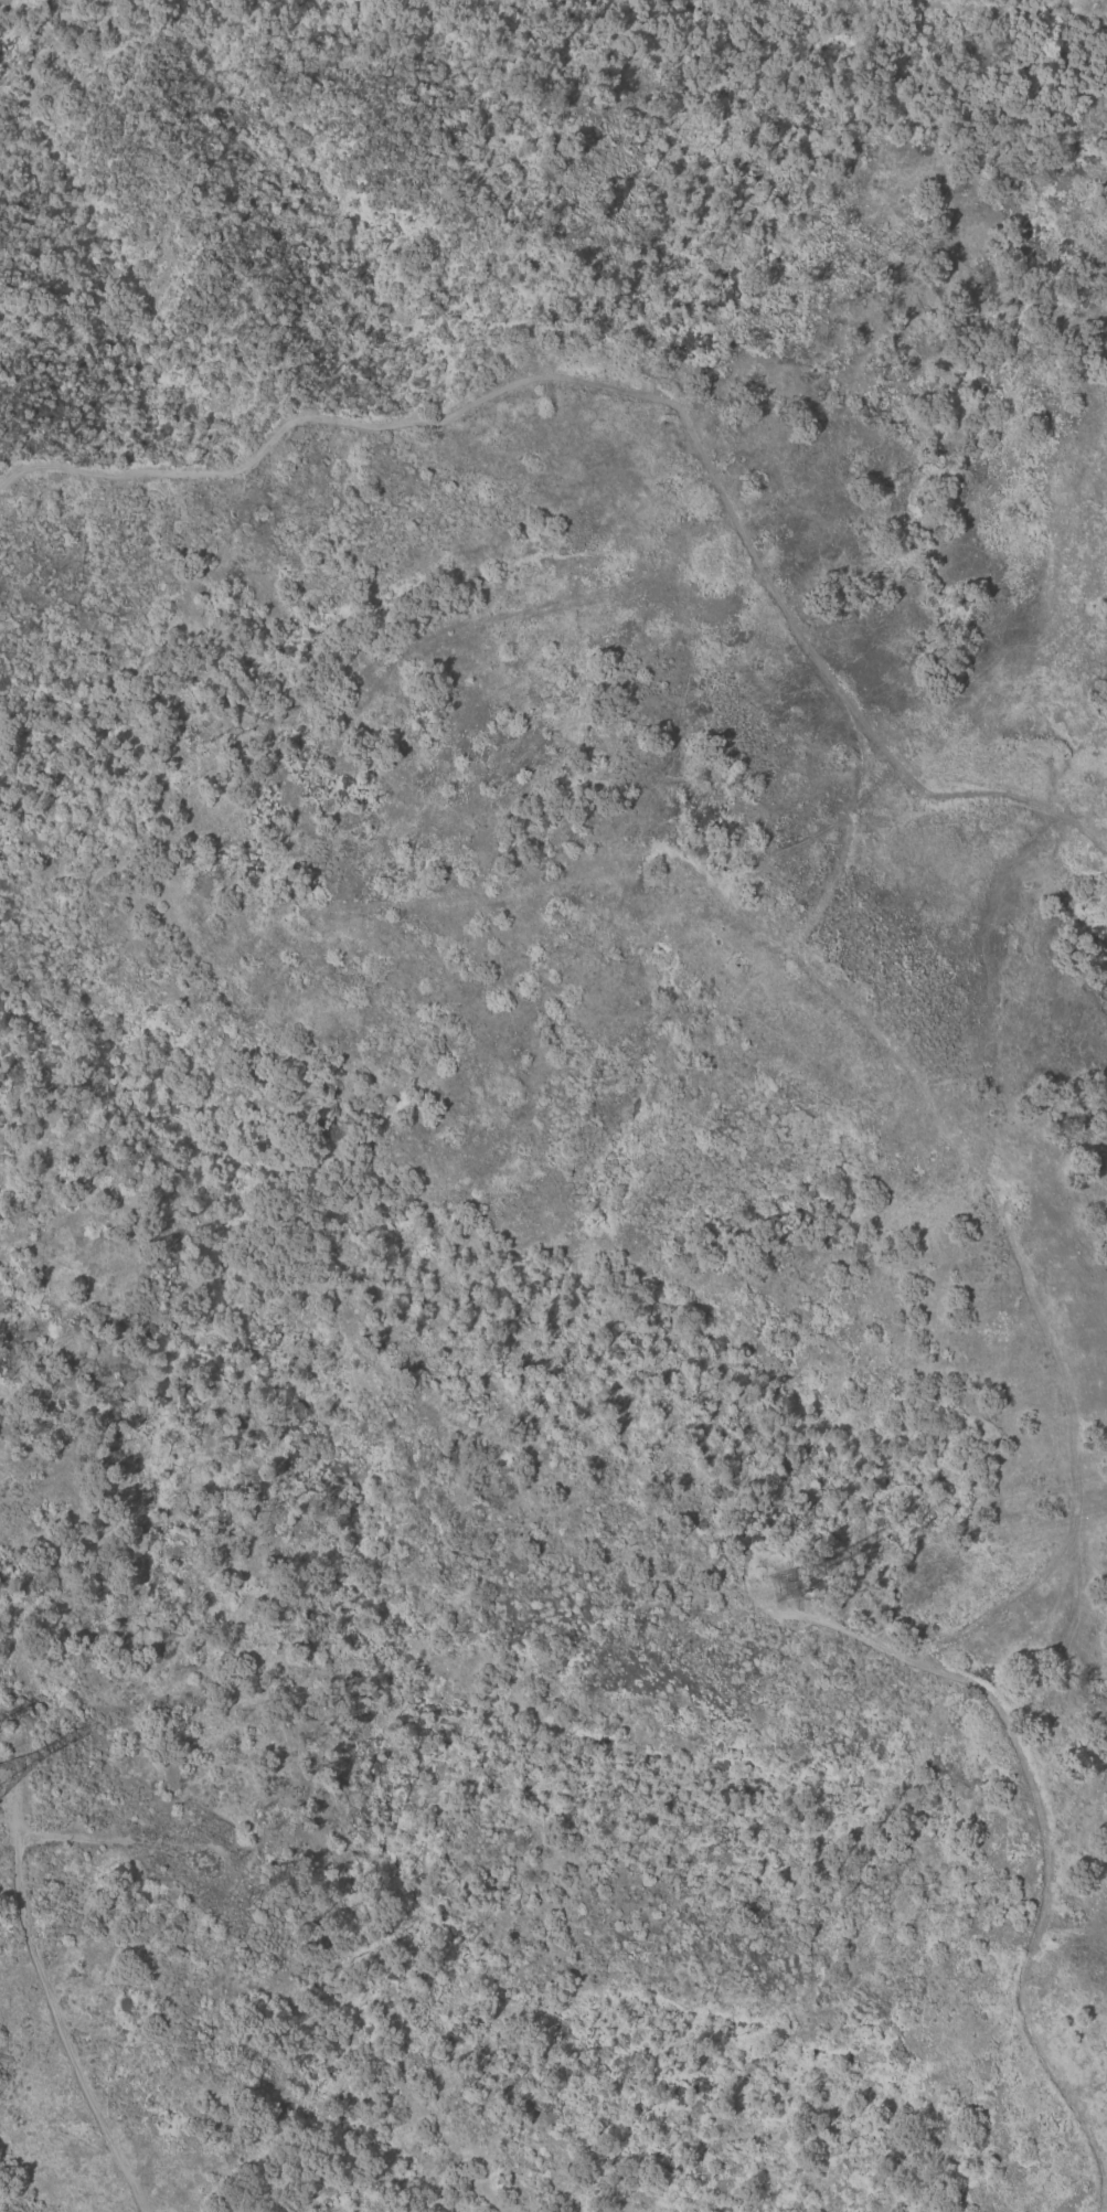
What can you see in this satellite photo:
power tower: (773, 1585)
power tower: (181, 1853)
road: (49, 2009)

